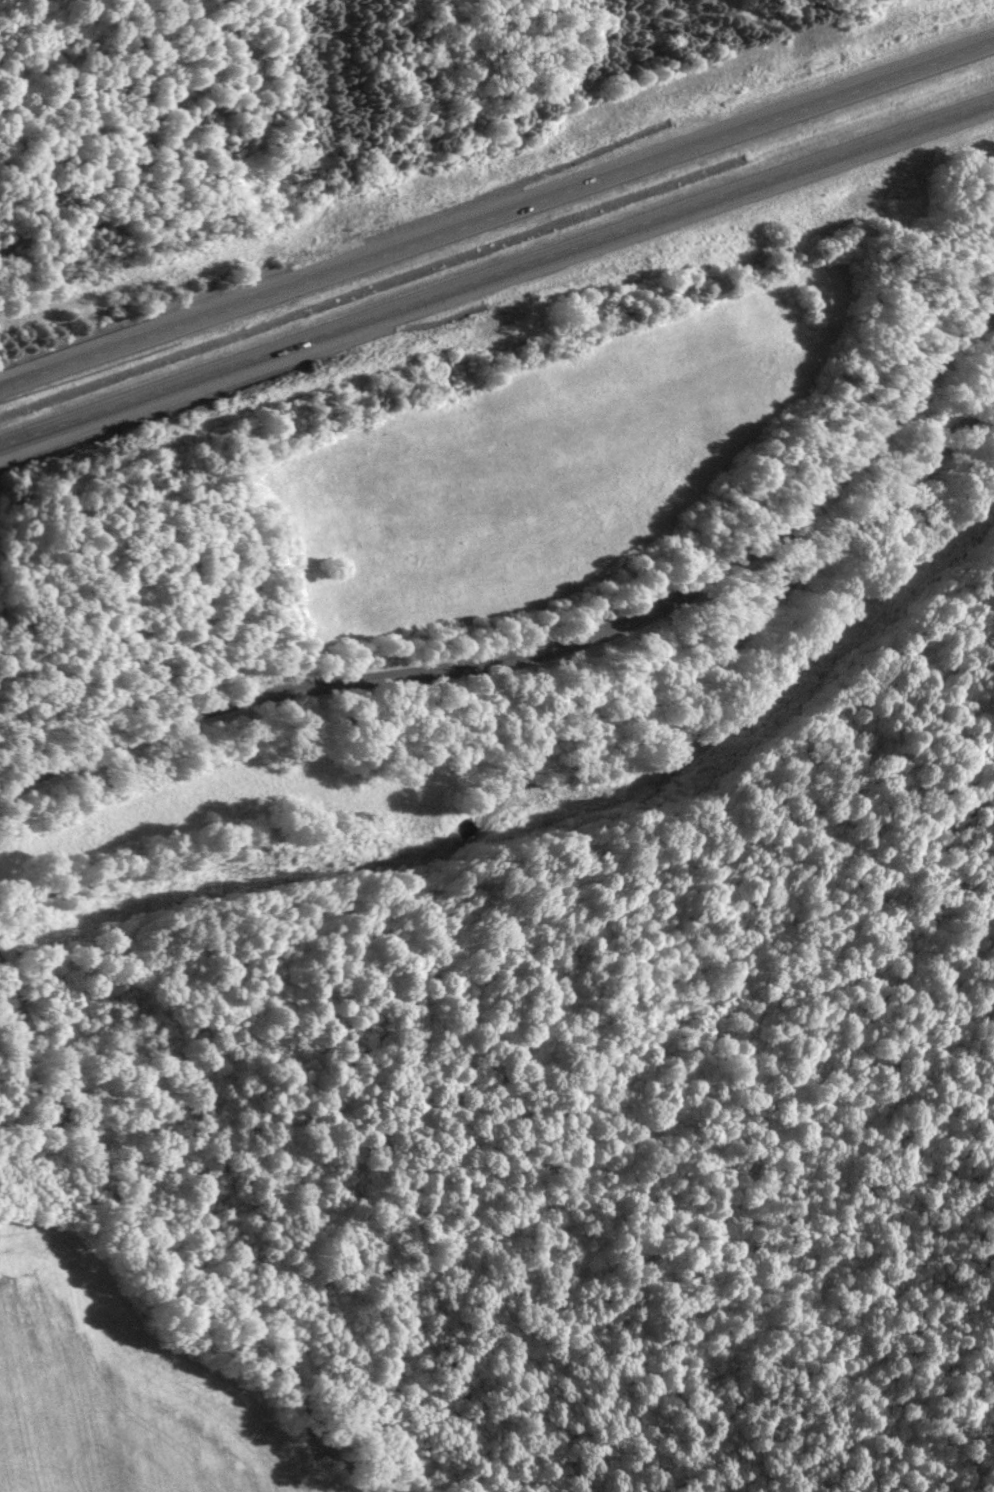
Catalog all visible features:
road: (507, 209)
road: (520, 268)
road: (11, 385)
road: (23, 441)
road: (542, 644)

